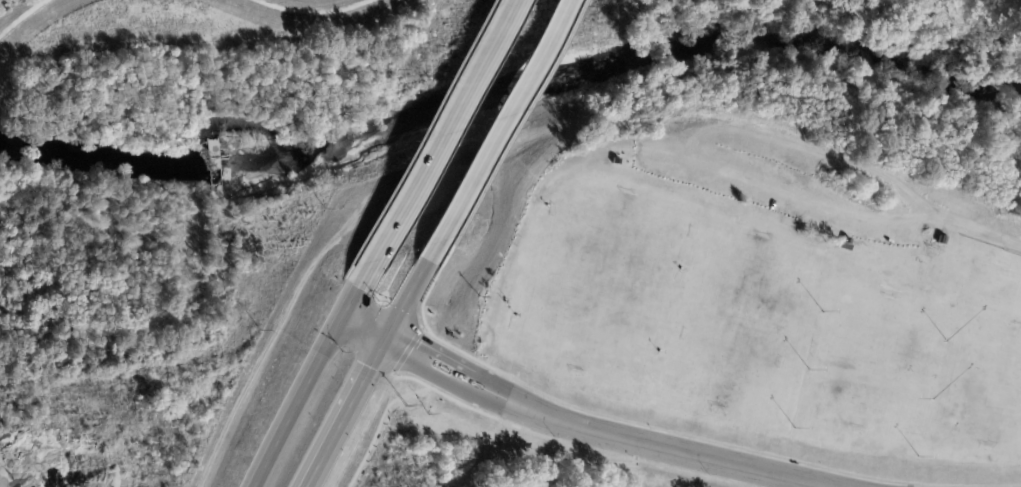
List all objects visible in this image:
road: (499, 129)
road: (509, 132)
road: (435, 143)
road: (425, 296)
road: (409, 299)
road: (351, 302)
road: (364, 328)
park: (771, 338)
park: (708, 344)
road: (408, 348)
road: (298, 402)
road: (345, 413)
road: (510, 423)
road: (378, 425)
road: (599, 433)
road: (713, 441)
road: (555, 453)
park: (513, 457)

